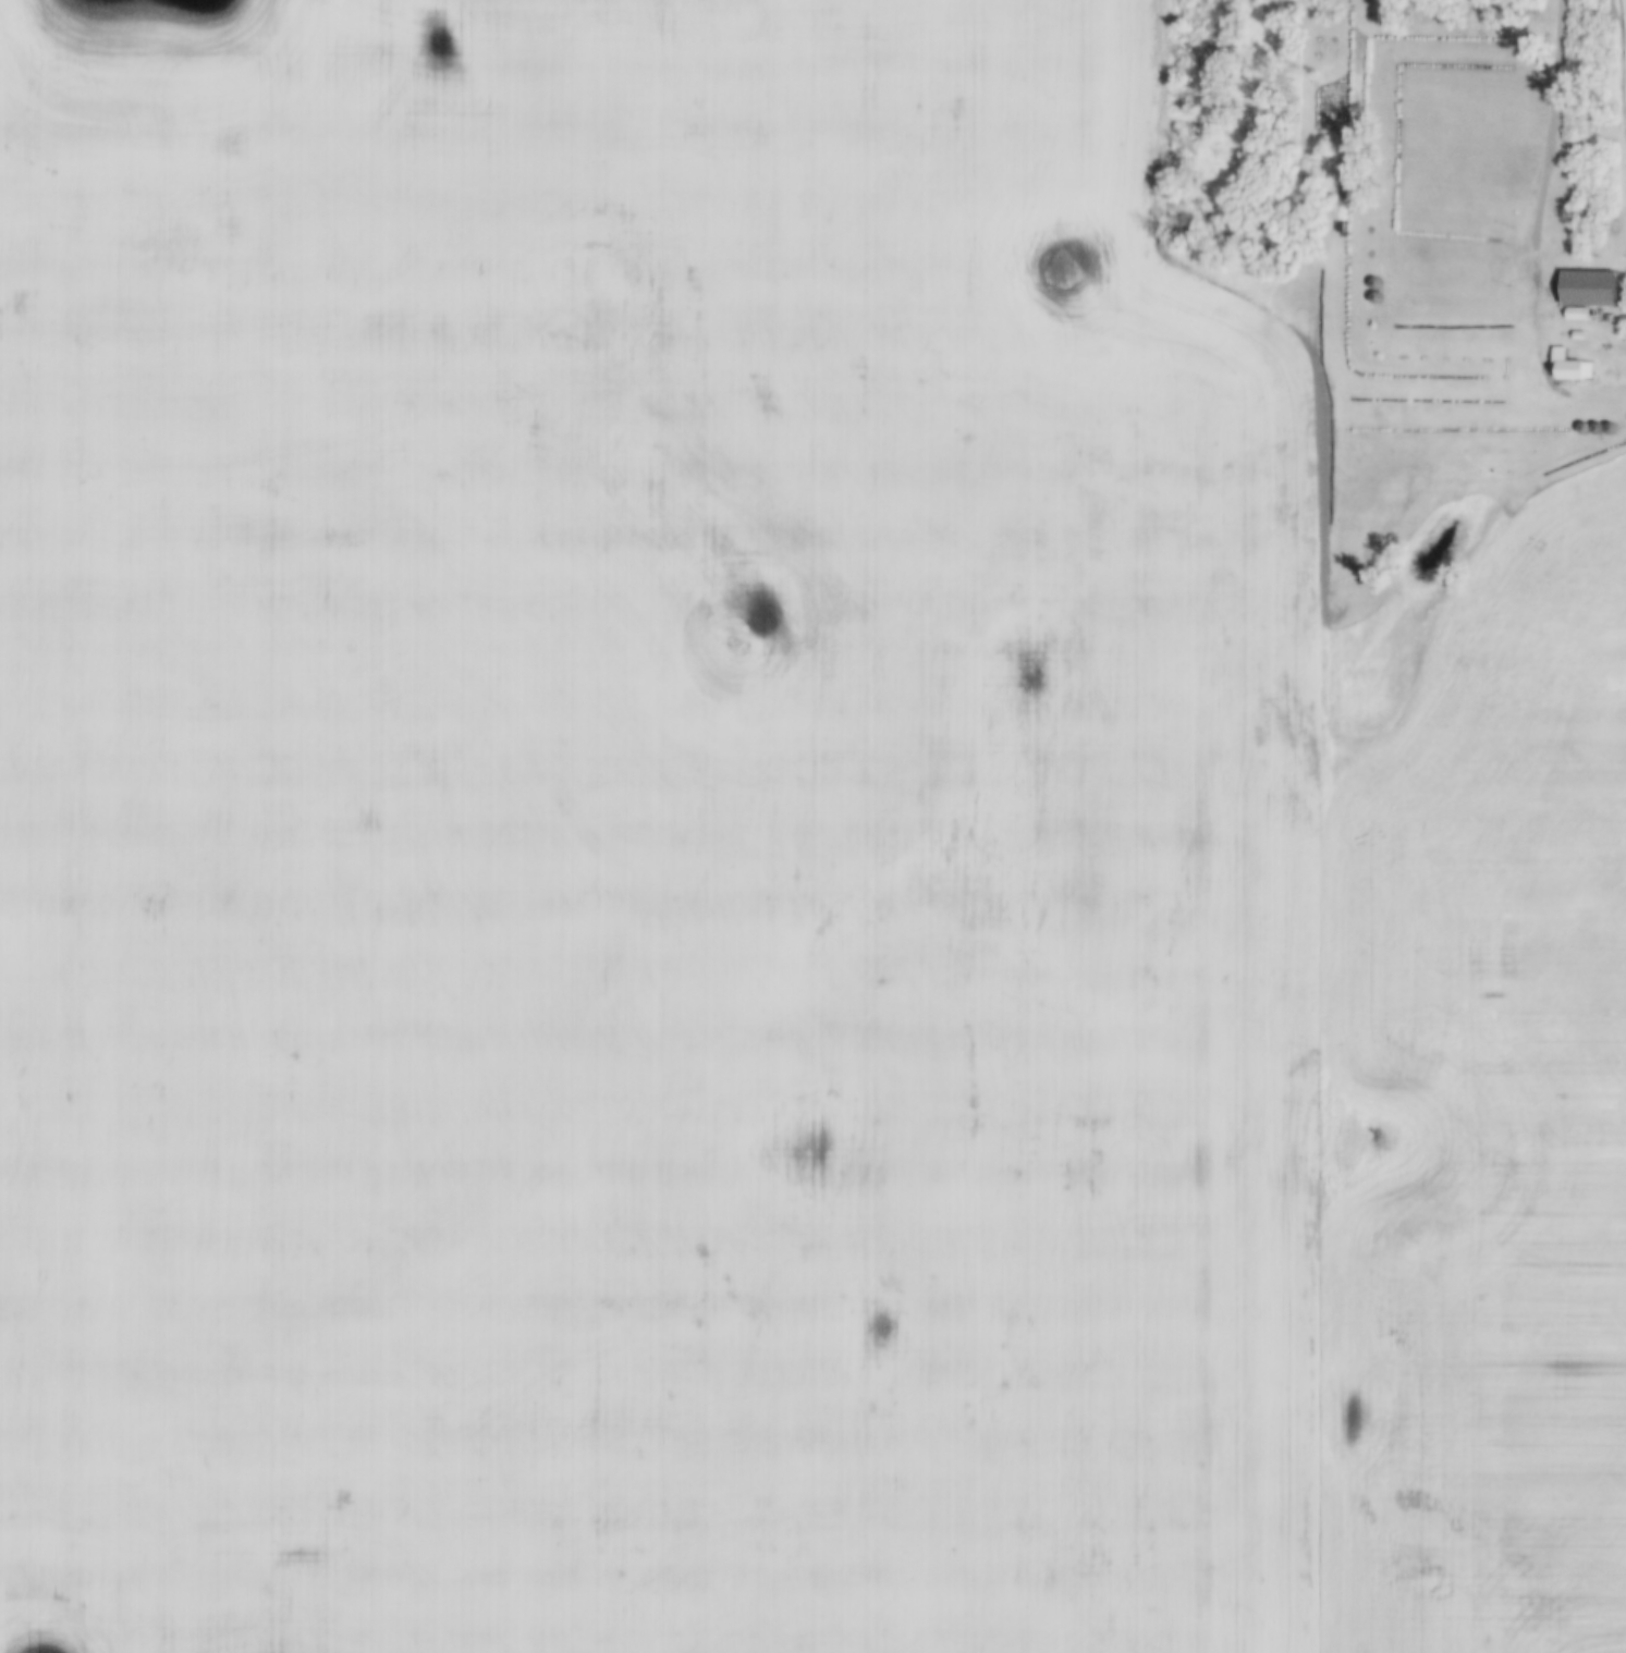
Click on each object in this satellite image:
road: (1556, 118)
building: (1594, 289)
building: (1575, 371)

